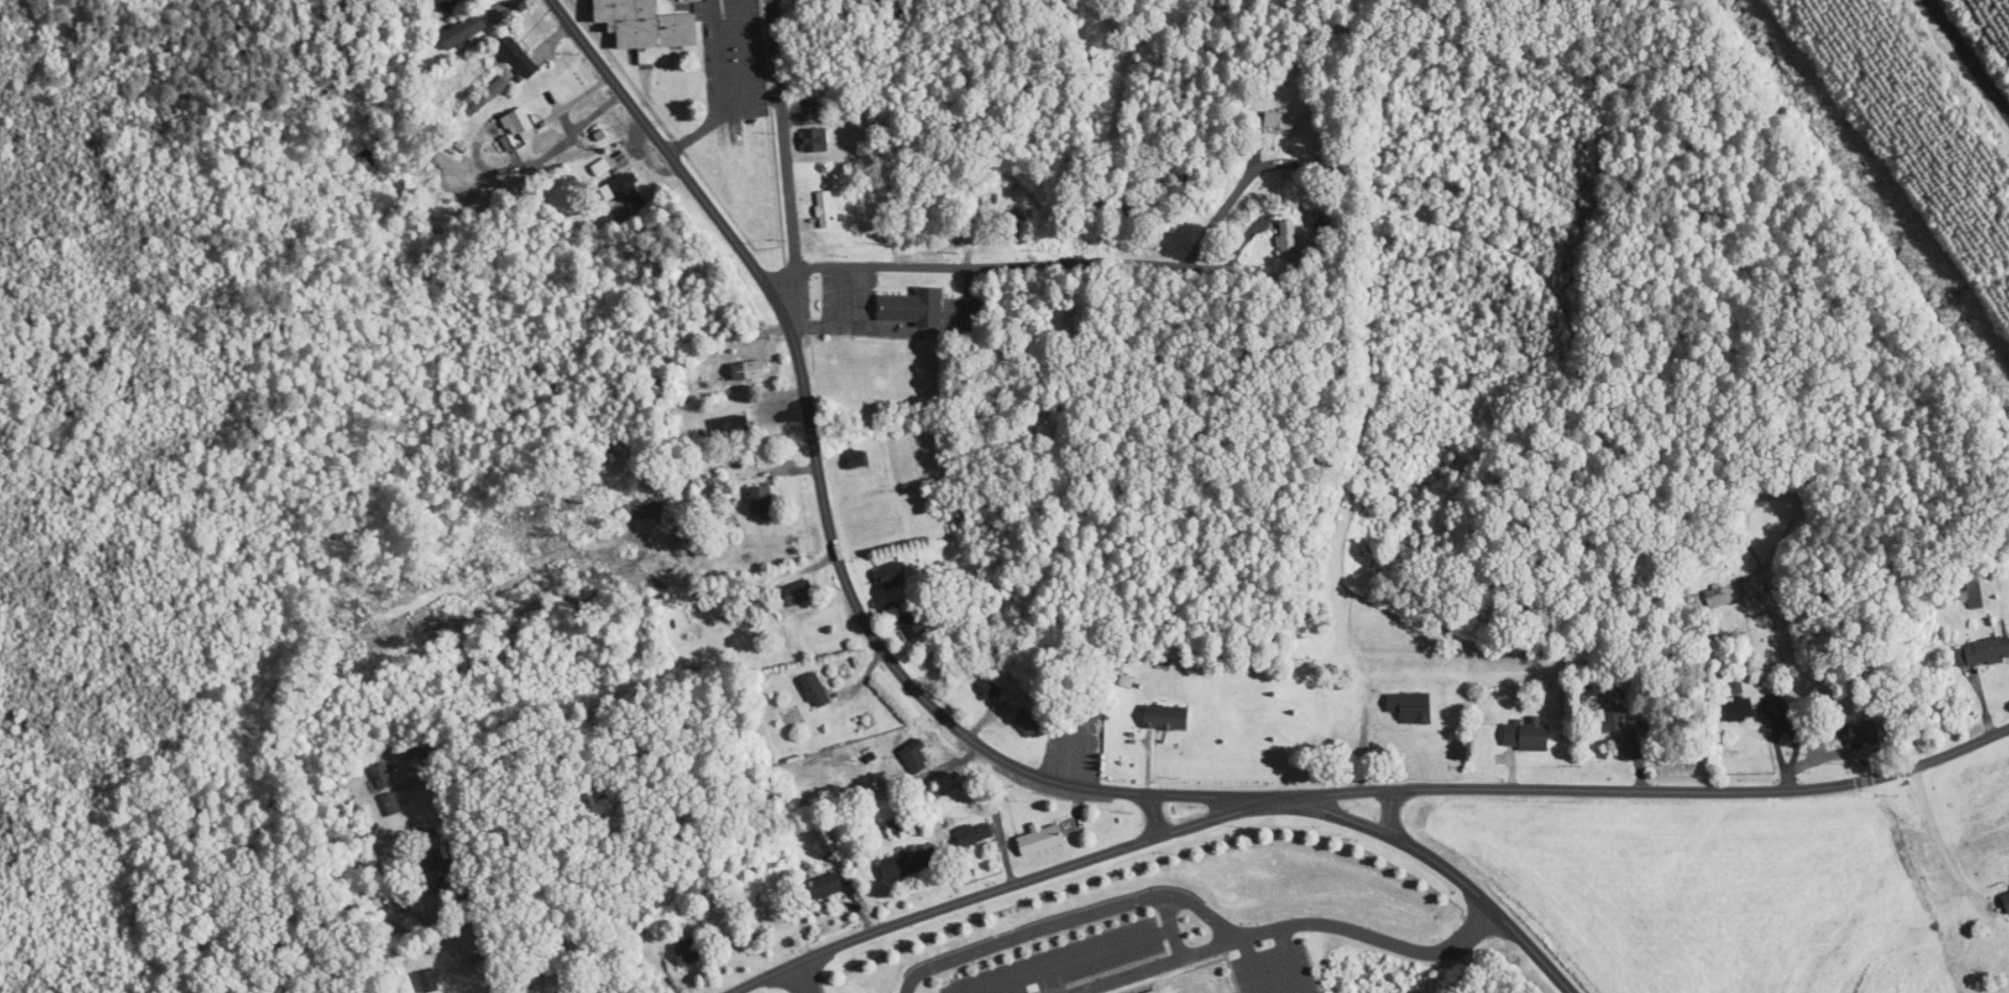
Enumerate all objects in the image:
building: (458, 5)
building: (646, 24)
building: (468, 30)
road: (1968, 57)
building: (524, 58)
road: (736, 93)
building: (495, 96)
building: (1286, 120)
building: (525, 122)
building: (817, 140)
road: (1169, 150)
road: (673, 158)
road: (773, 161)
building: (606, 167)
building: (630, 188)
building: (827, 209)
building: (1142, 209)
building: (1019, 219)
building: (1290, 241)
road: (1086, 262)
building: (914, 307)
building: (758, 370)
building: (737, 427)
building: (860, 459)
building: (764, 500)
building: (893, 576)
building: (800, 592)
road: (851, 594)
building: (1724, 598)
building: (913, 625)
building: (1983, 651)
building: (819, 689)
building: (992, 690)
building: (1411, 707)
building: (1740, 707)
building: (1167, 716)
building: (1610, 719)
building: (1029, 722)
building: (1864, 731)
building: (1527, 735)
building: (915, 758)
road: (1647, 790)
road: (1163, 793)
road: (1389, 813)
road: (1156, 814)
building: (935, 822)
building: (897, 826)
road: (1176, 830)
building: (973, 835)
road: (1939, 836)
building: (1042, 839)
building: (909, 863)
road: (1443, 866)
road: (459, 869)
building: (828, 885)
building: (2005, 899)
road: (1163, 910)
building: (788, 920)
road: (901, 921)
road: (1068, 921)
road: (1368, 937)
building: (688, 953)
road: (1083, 955)
road: (1288, 960)
road: (1250, 965)
road: (1151, 966)
building: (434, 979)
road: (797, 979)
building: (1157, 992)

